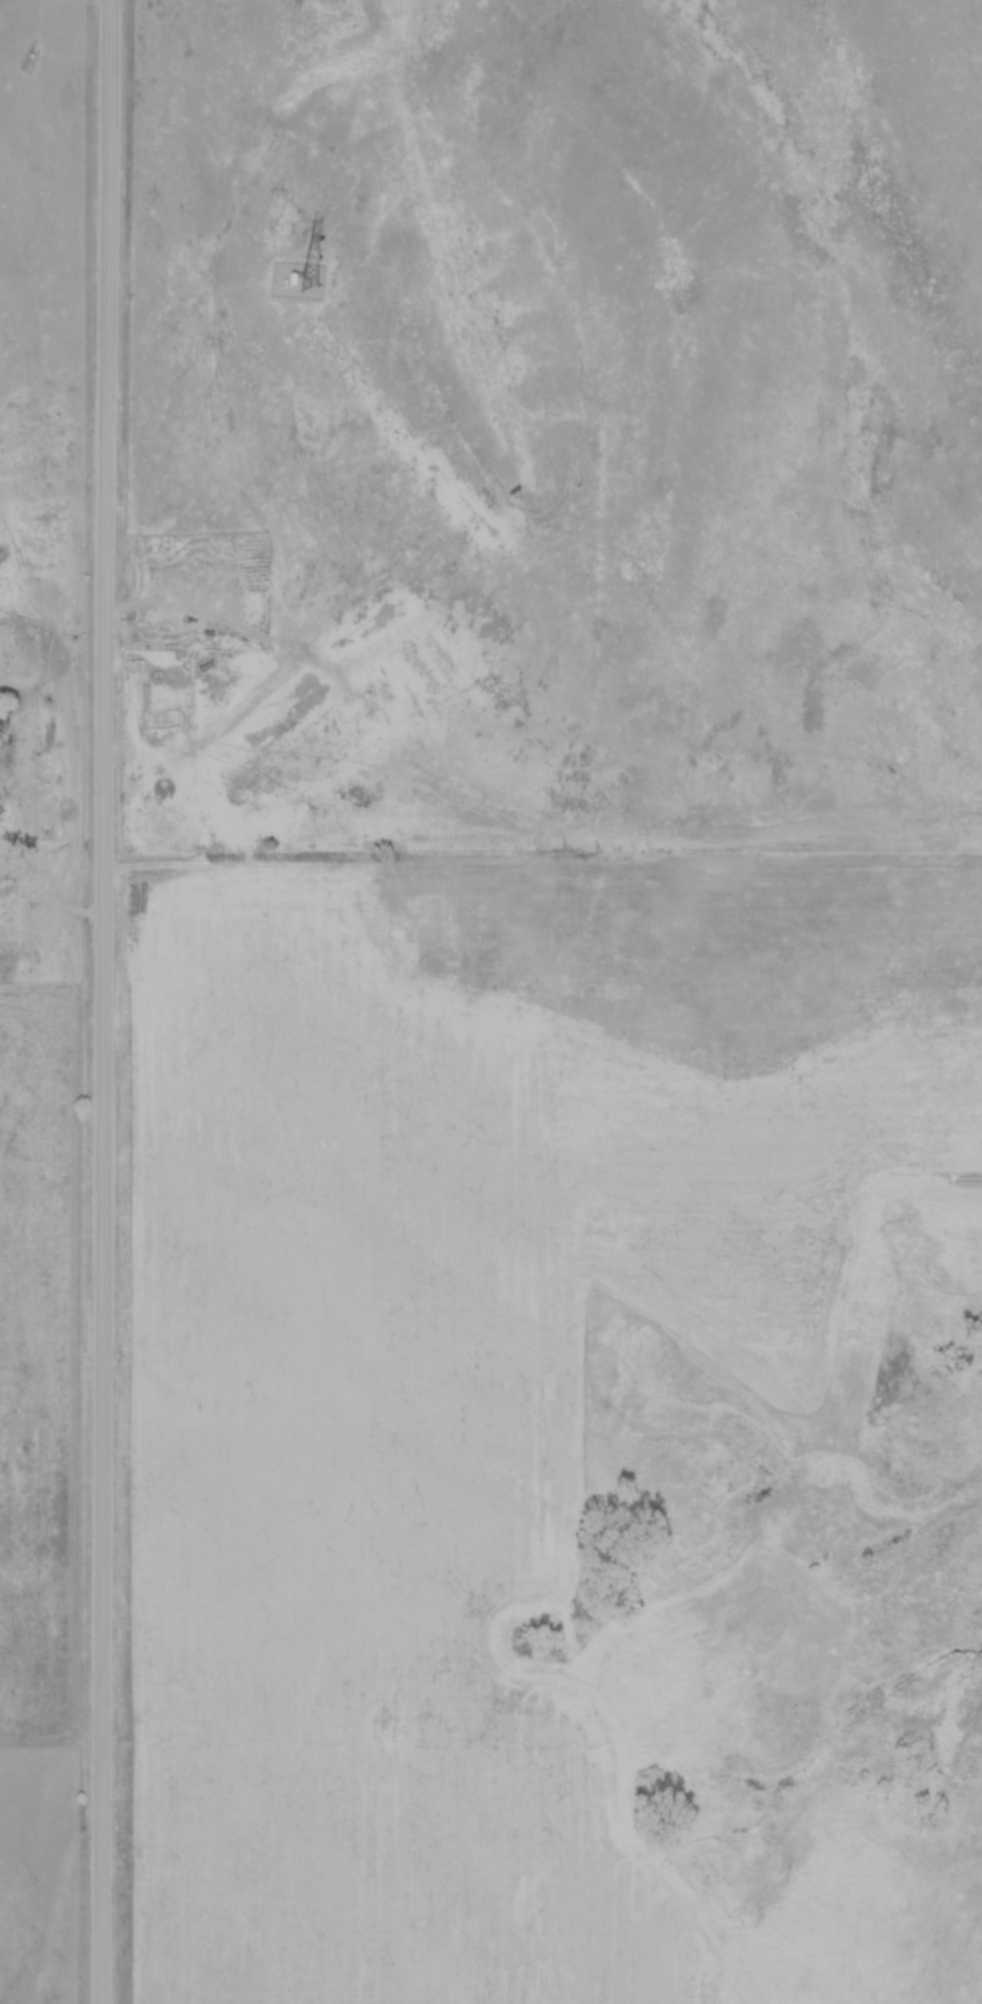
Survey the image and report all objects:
road: (52, 913)
road: (103, 1001)

